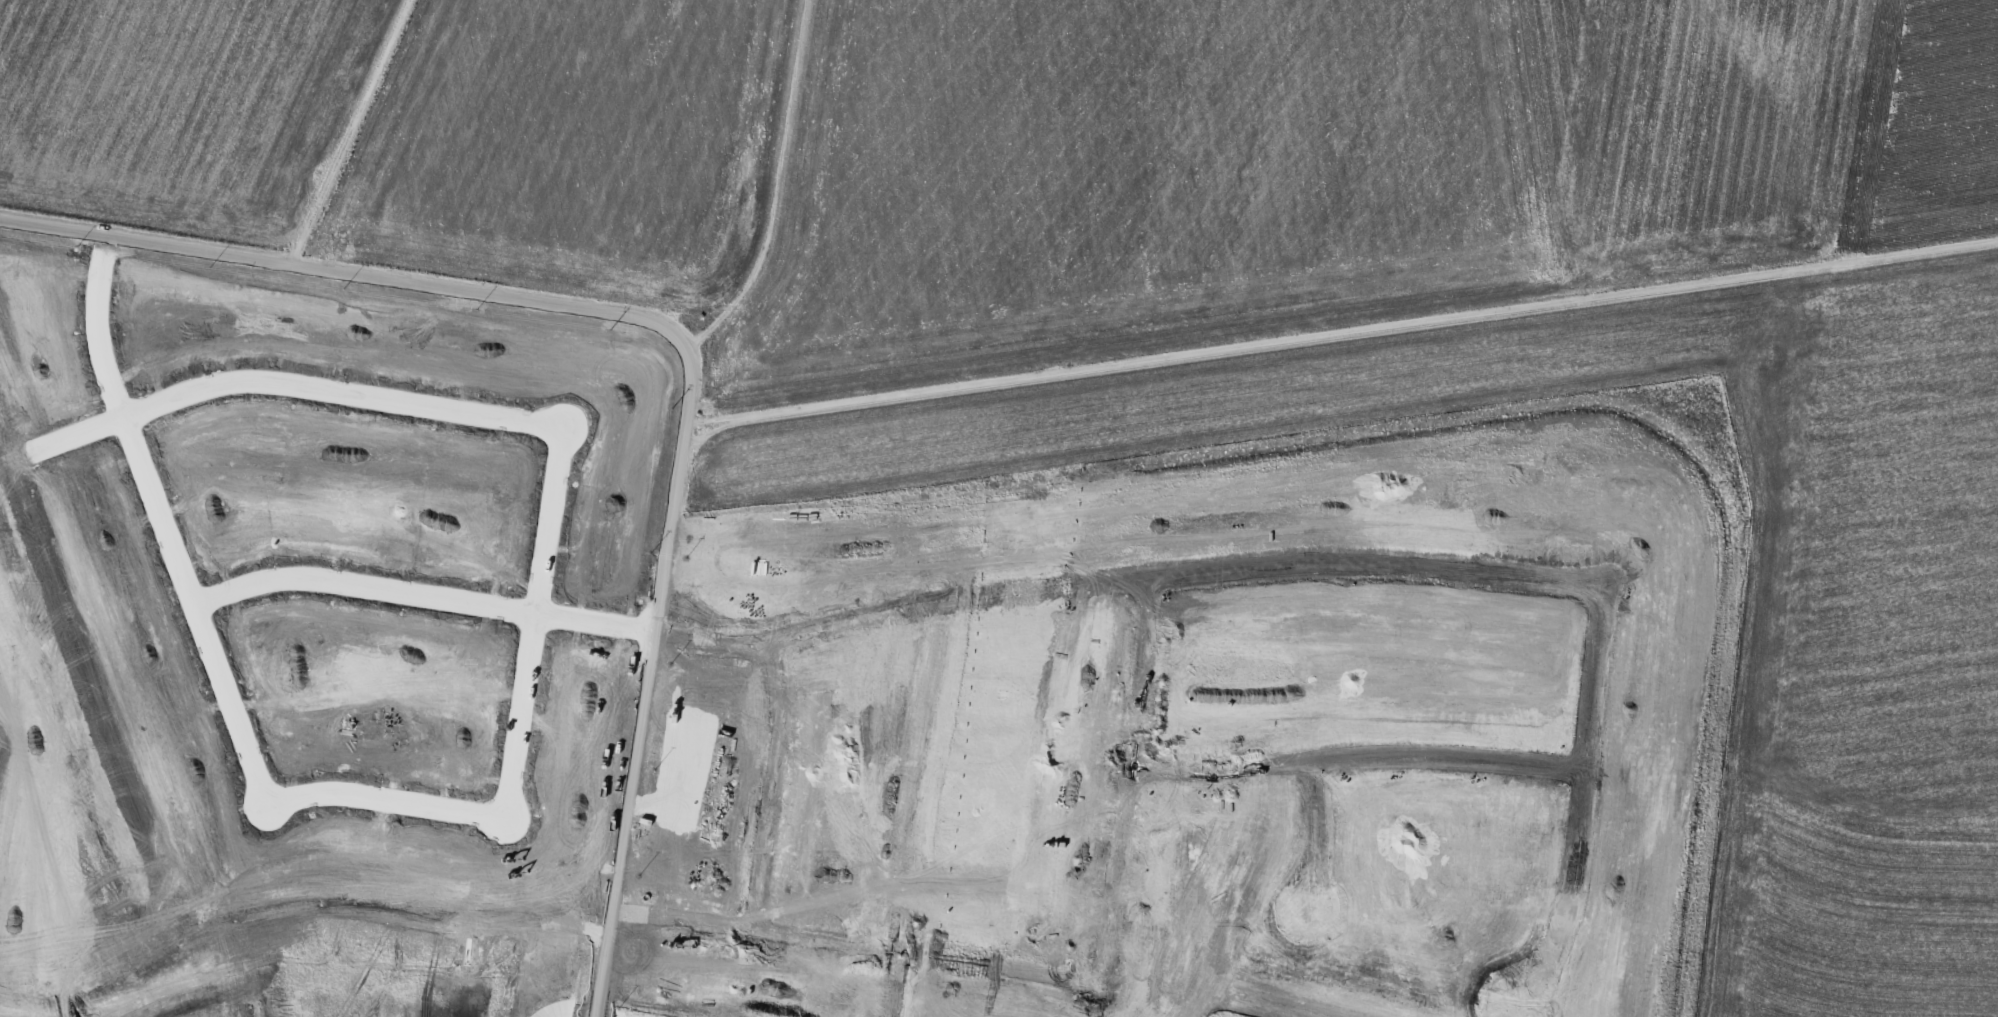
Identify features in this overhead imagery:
road: (348, 132)
road: (770, 186)
road: (1341, 332)
road: (679, 337)
road: (294, 386)
road: (163, 524)
road: (422, 596)
road: (533, 623)
road: (385, 800)

